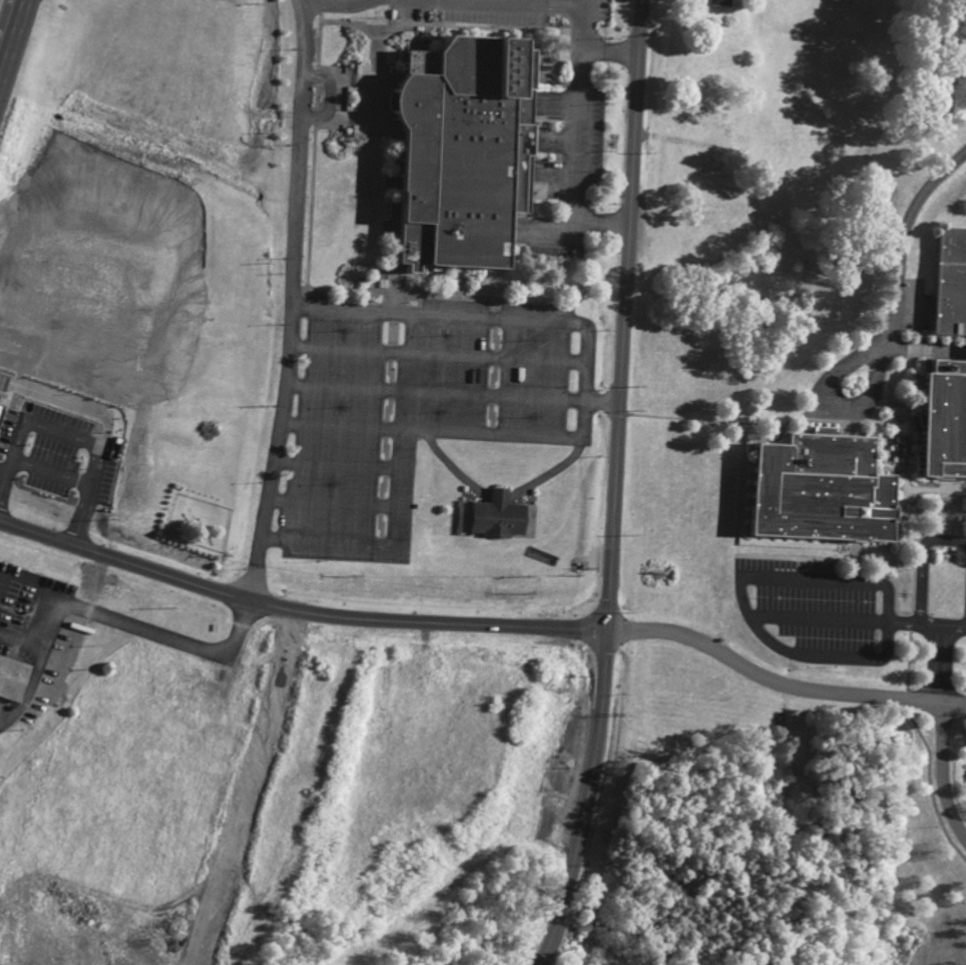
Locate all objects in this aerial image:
building: (717, 3)
road: (8, 26)
road: (326, 95)
building: (464, 146)
road: (903, 229)
road: (444, 274)
building: (948, 288)
road: (493, 296)
road: (288, 301)
road: (431, 313)
road: (625, 315)
road: (436, 353)
road: (585, 375)
road: (434, 391)
road: (603, 399)
parking lot: (410, 408)
road: (828, 408)
road: (819, 419)
building: (948, 421)
road: (430, 429)
road: (339, 463)
road: (500, 494)
building: (820, 494)
road: (335, 502)
building: (494, 515)
road: (325, 540)
road: (829, 557)
road: (923, 560)
road: (913, 584)
parking lot: (821, 602)
road: (297, 611)
road: (856, 619)
road: (886, 644)
road: (941, 660)
building: (12, 679)
road: (781, 685)
road: (943, 770)
road: (586, 800)

